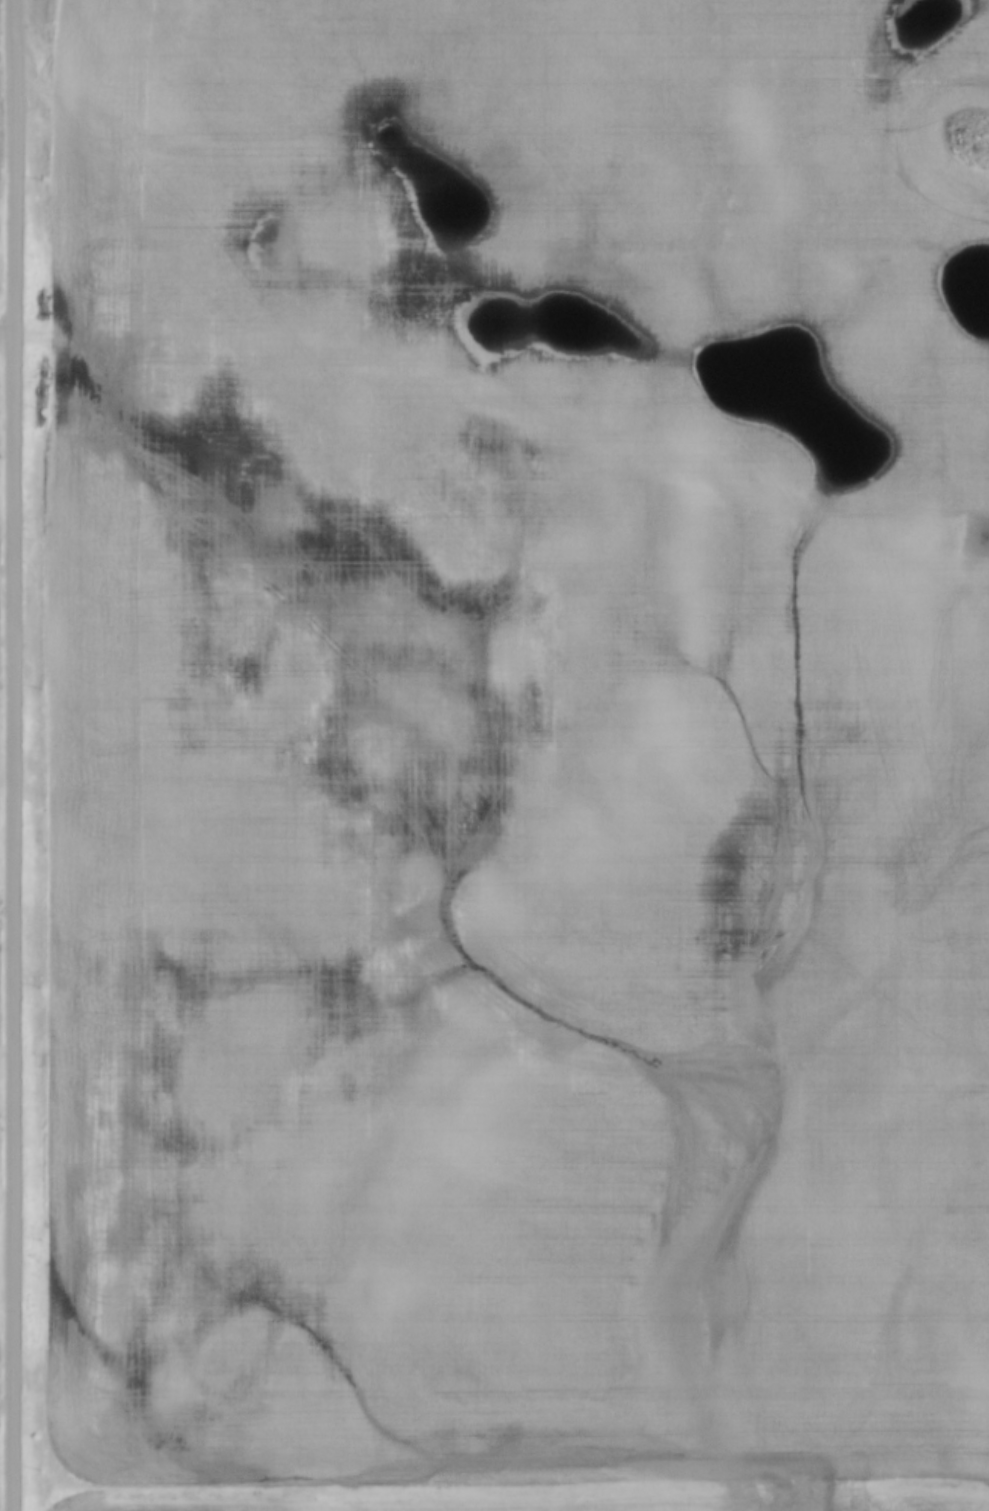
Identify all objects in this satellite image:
road: (6, 333)
road: (504, 409)
road: (12, 755)

